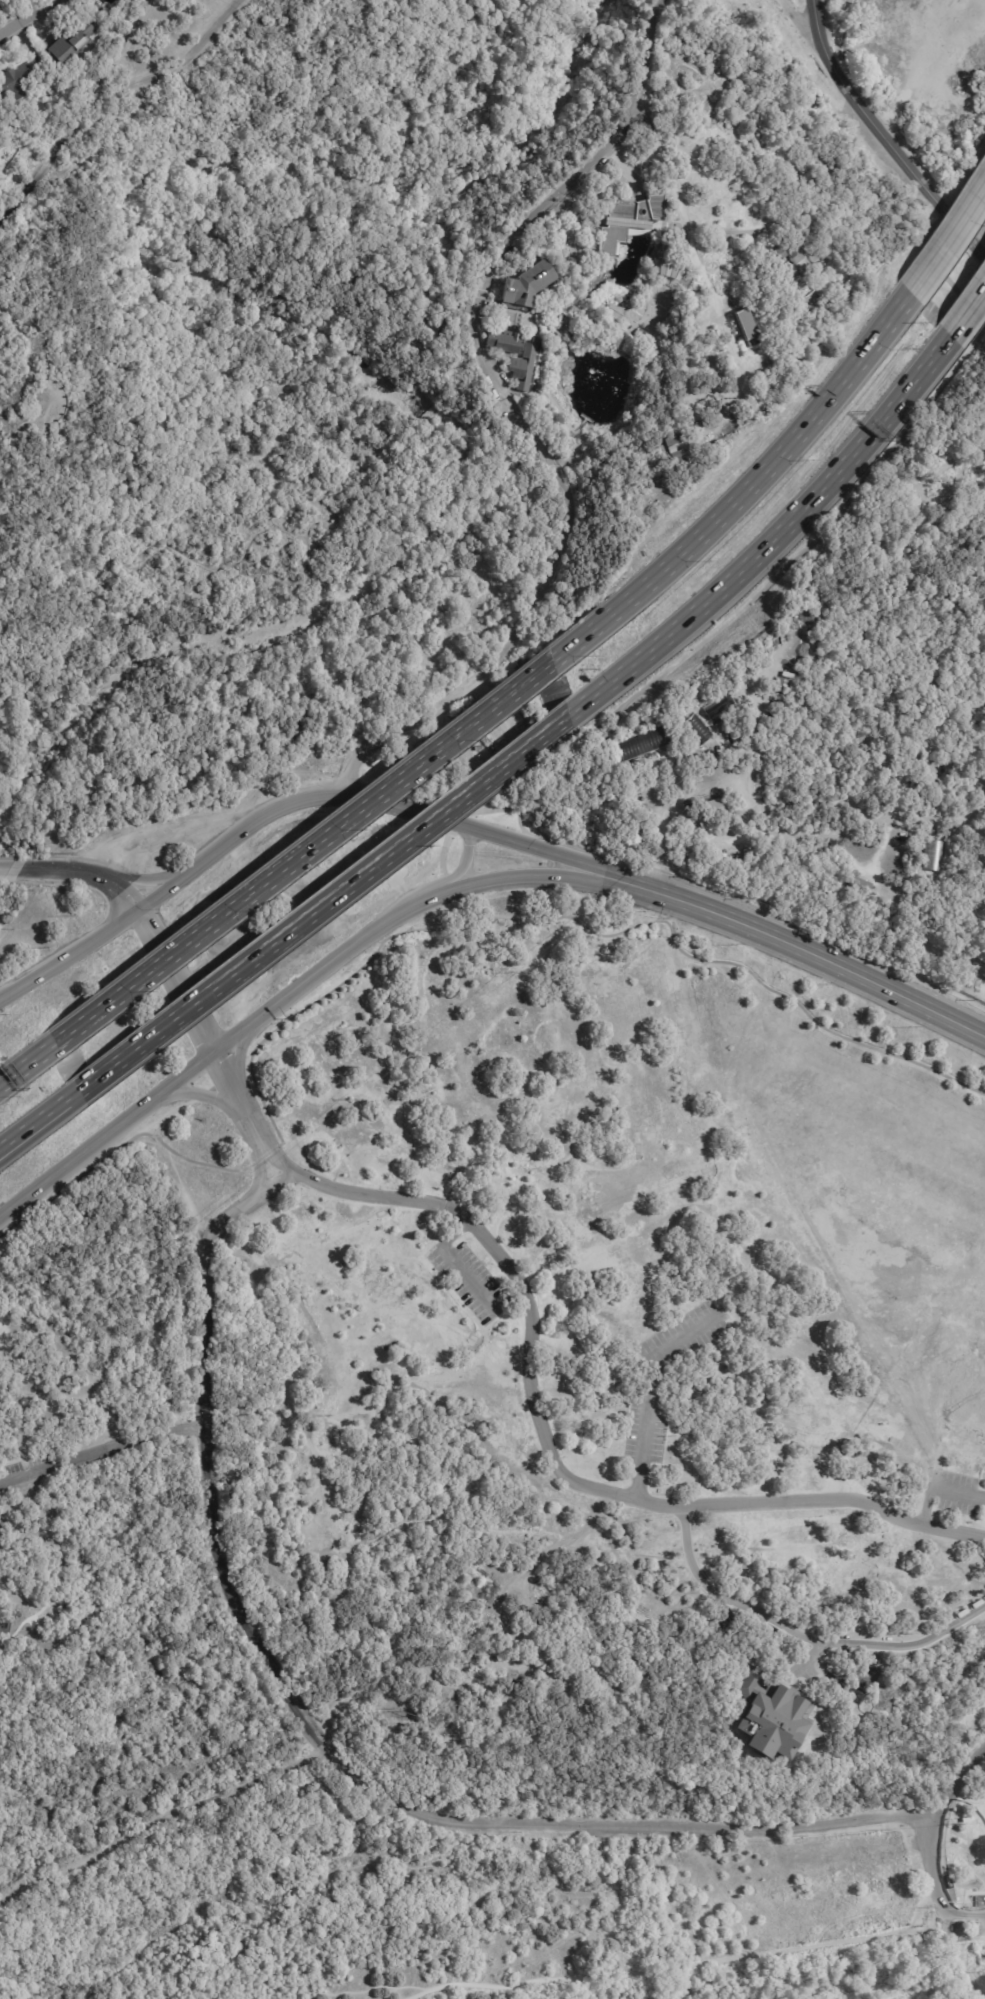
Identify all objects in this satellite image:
building: (95, 8)
road: (27, 16)
road: (798, 16)
road: (814, 16)
building: (73, 43)
road: (650, 52)
road: (921, 69)
building: (18, 86)
road: (112, 92)
road: (893, 150)
road: (44, 164)
parking lot: (980, 191)
road: (819, 200)
road: (678, 207)
building: (627, 220)
road: (515, 238)
road: (949, 242)
building: (792, 261)
building: (526, 284)
building: (613, 311)
road: (968, 314)
building: (747, 322)
road: (27, 343)
building: (517, 353)
road: (54, 421)
road: (15, 434)
building: (676, 444)
road: (746, 490)
road: (253, 536)
road: (775, 536)
road: (563, 543)
road: (795, 561)
road: (872, 589)
building: (781, 686)
building: (718, 707)
road: (399, 728)
building: (697, 731)
building: (648, 743)
road: (289, 806)
building: (716, 808)
road: (807, 827)
road: (522, 828)
road: (304, 857)
building: (933, 857)
road: (559, 858)
road: (464, 863)
road: (12, 870)
road: (546, 877)
road: (142, 882)
building: (861, 886)
road: (960, 906)
road: (324, 907)
road: (579, 921)
road: (145, 926)
road: (819, 955)
road: (69, 958)
road: (326, 967)
park: (495, 1005)
road: (239, 1056)
road: (25, 1069)
road: (207, 1096)
road: (239, 1100)
road: (35, 1125)
road: (106, 1135)
road: (135, 1137)
road: (456, 1236)
parking lot: (468, 1278)
road: (469, 1280)
road: (509, 1300)
building: (2, 1356)
building: (0, 1380)
parking lot: (666, 1384)
road: (651, 1390)
building: (1, 1405)
road: (546, 1444)
road: (100, 1450)
road: (941, 1493)
parking lot: (955, 1498)
road: (802, 1635)
road: (809, 1657)
park: (864, 1674)
building: (865, 1676)
building: (768, 1714)
road: (321, 1744)
building: (784, 1764)
road: (158, 1813)
road: (935, 1841)
parking lot: (977, 1910)
road: (964, 1939)
road: (284, 1944)
road: (964, 1966)
road: (674, 1973)
road: (375, 1987)

